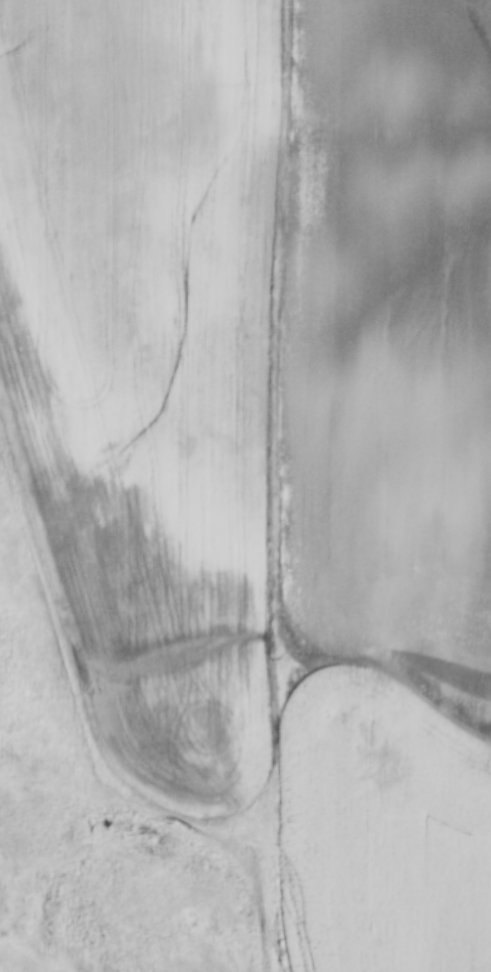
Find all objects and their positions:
river: (141, 858)

